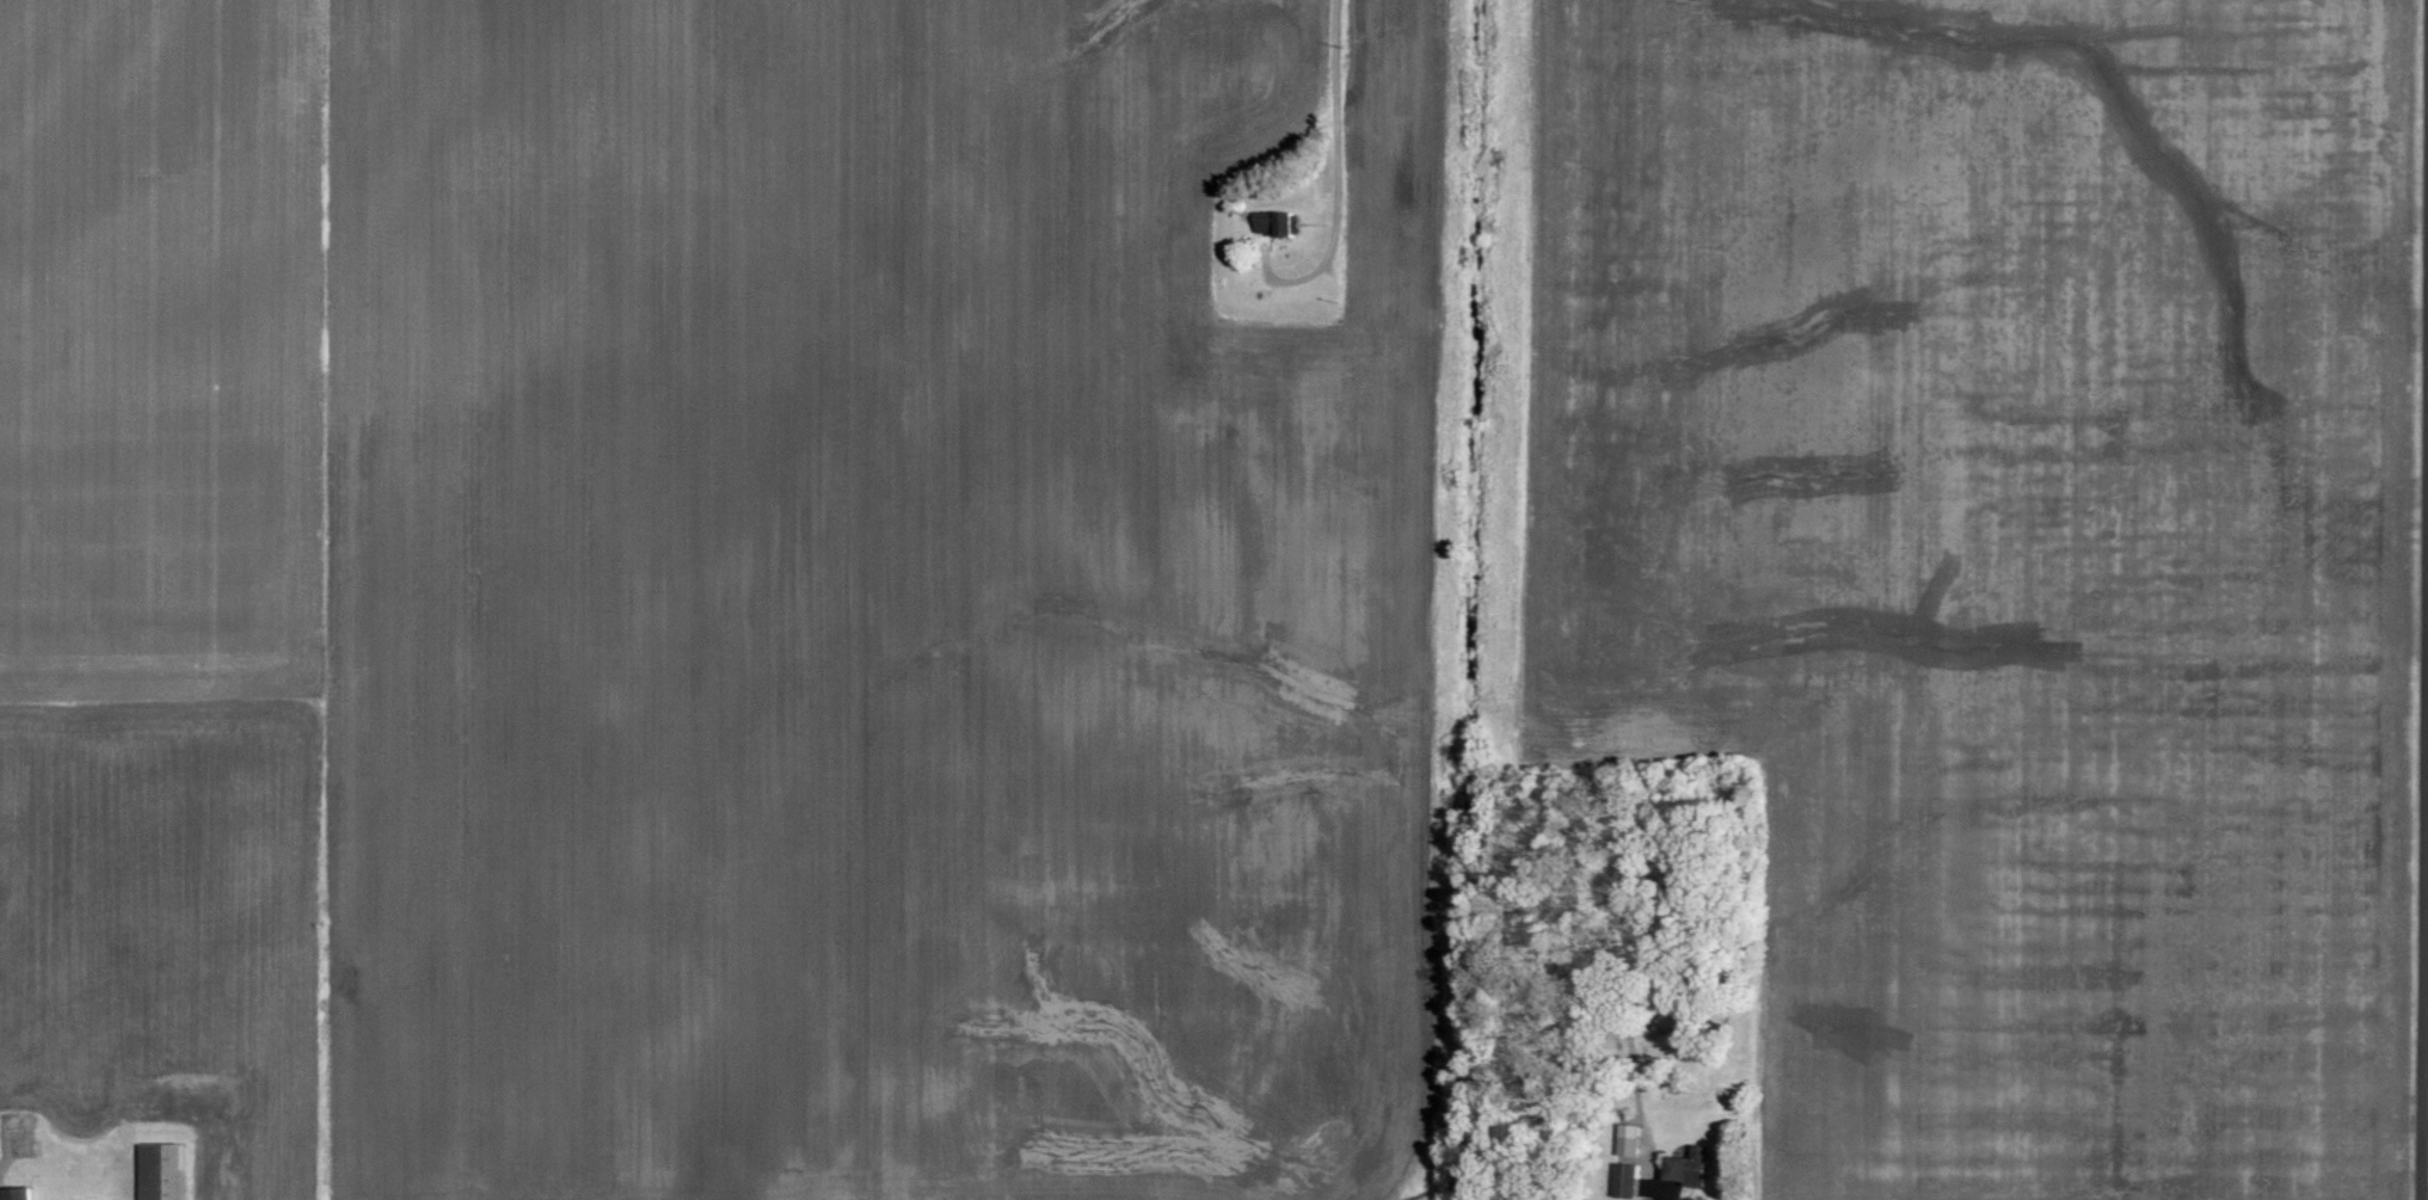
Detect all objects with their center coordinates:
road: (1341, 134)
building: (1274, 224)
road: (2424, 798)
building: (1627, 1141)
building: (1684, 1169)
building: (160, 1171)
building: (12, 1193)

